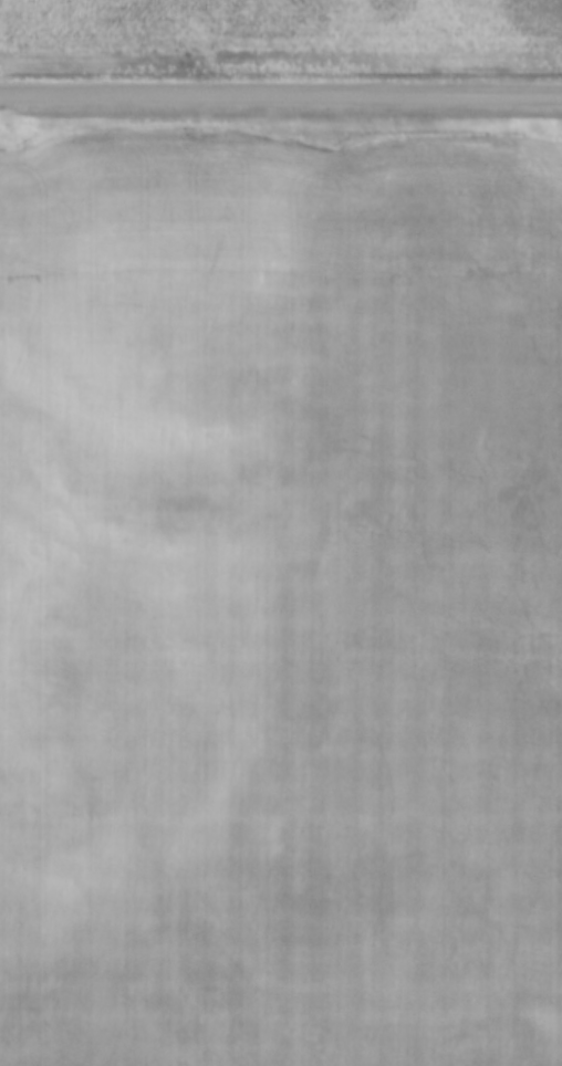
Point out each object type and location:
road: (280, 94)

